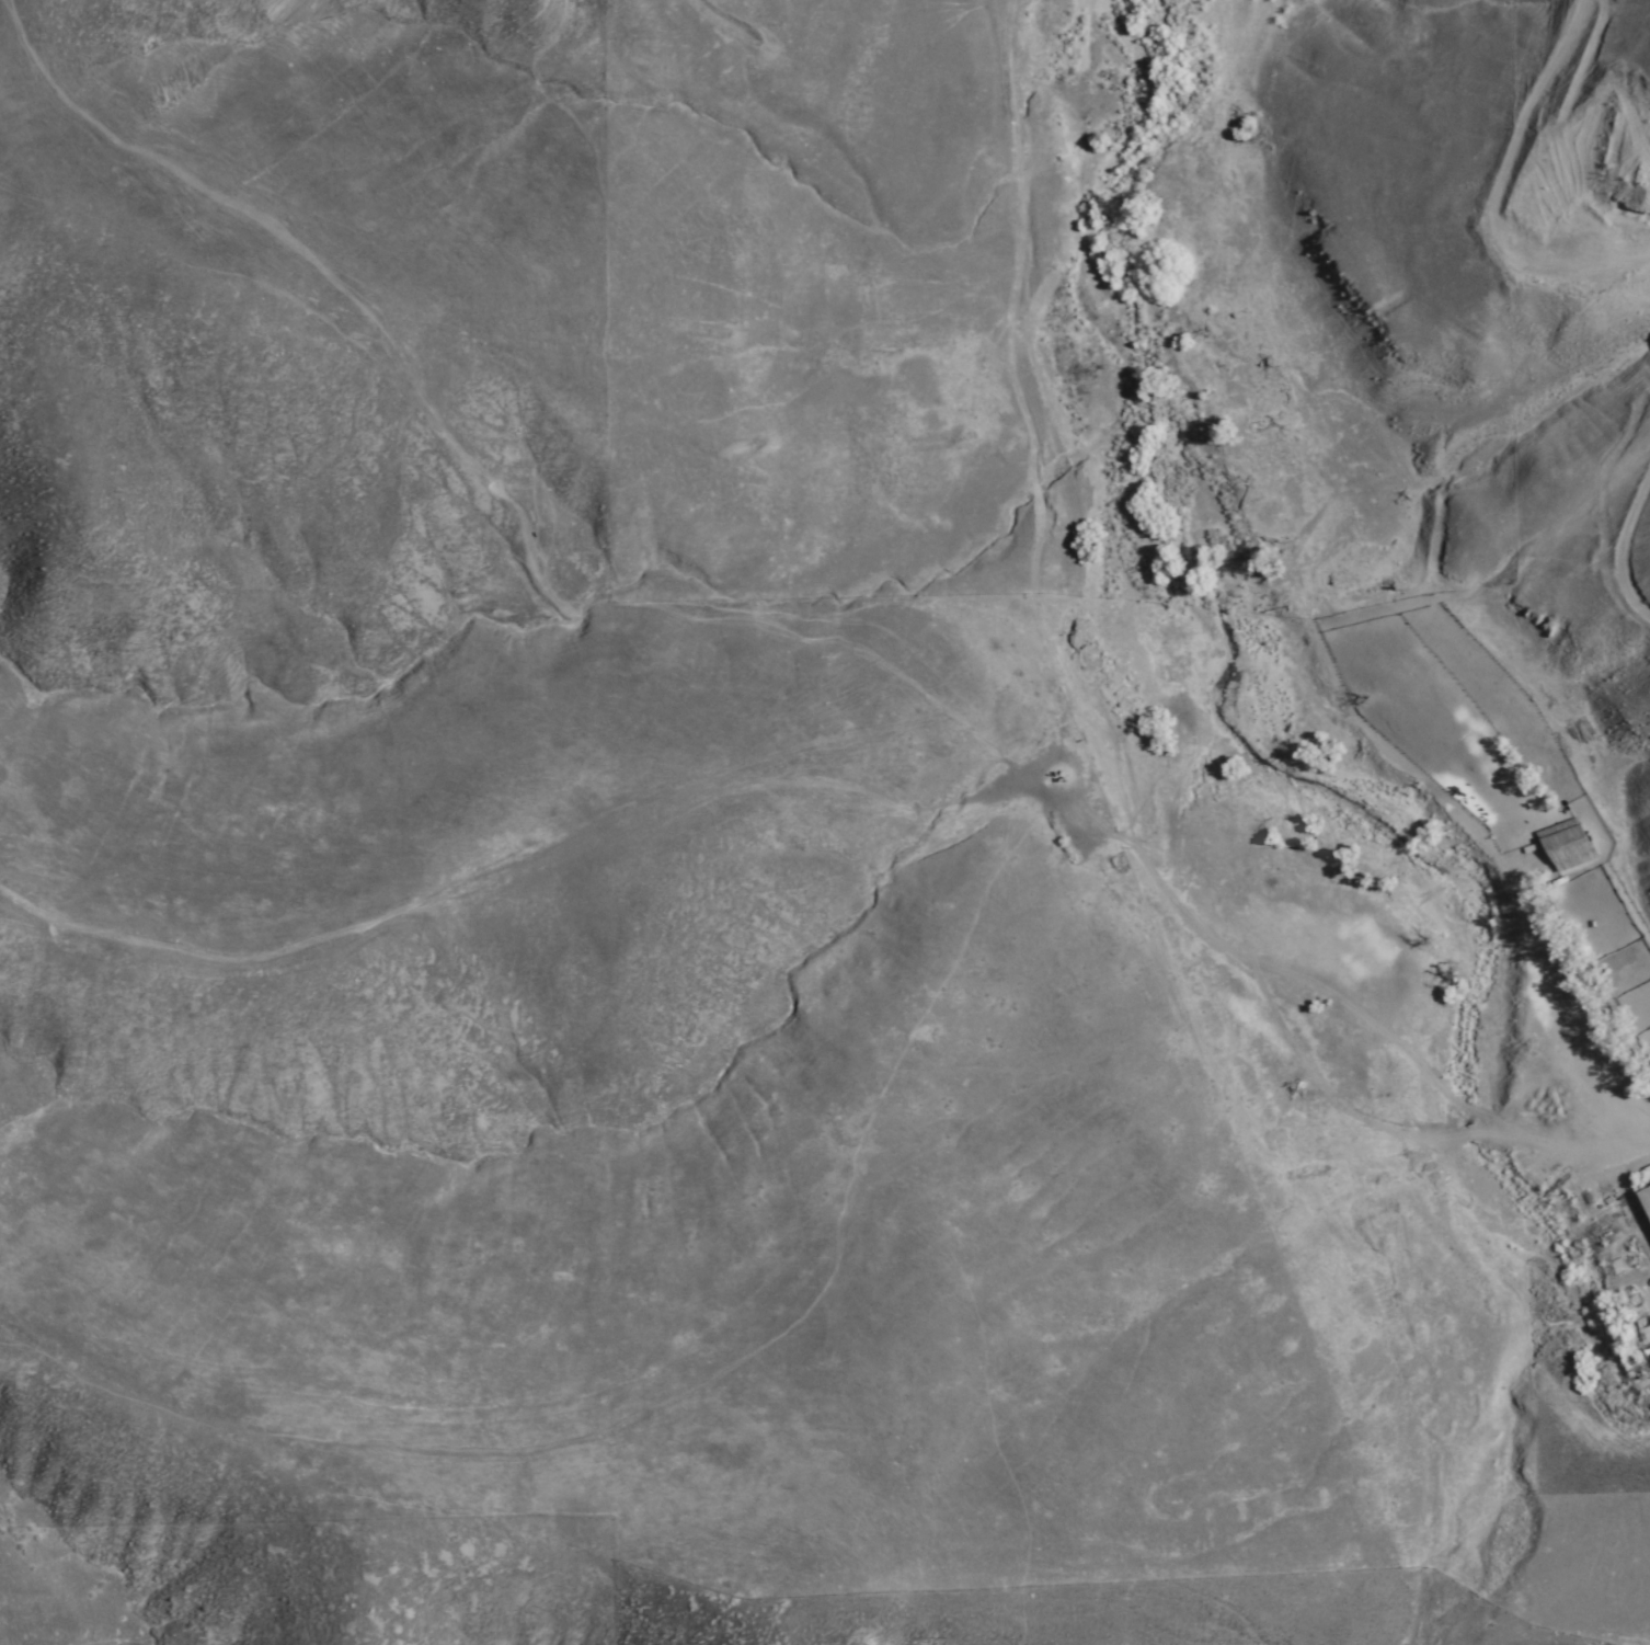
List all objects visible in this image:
road: (1116, 741)
building: (1565, 845)
building: (1645, 1200)

